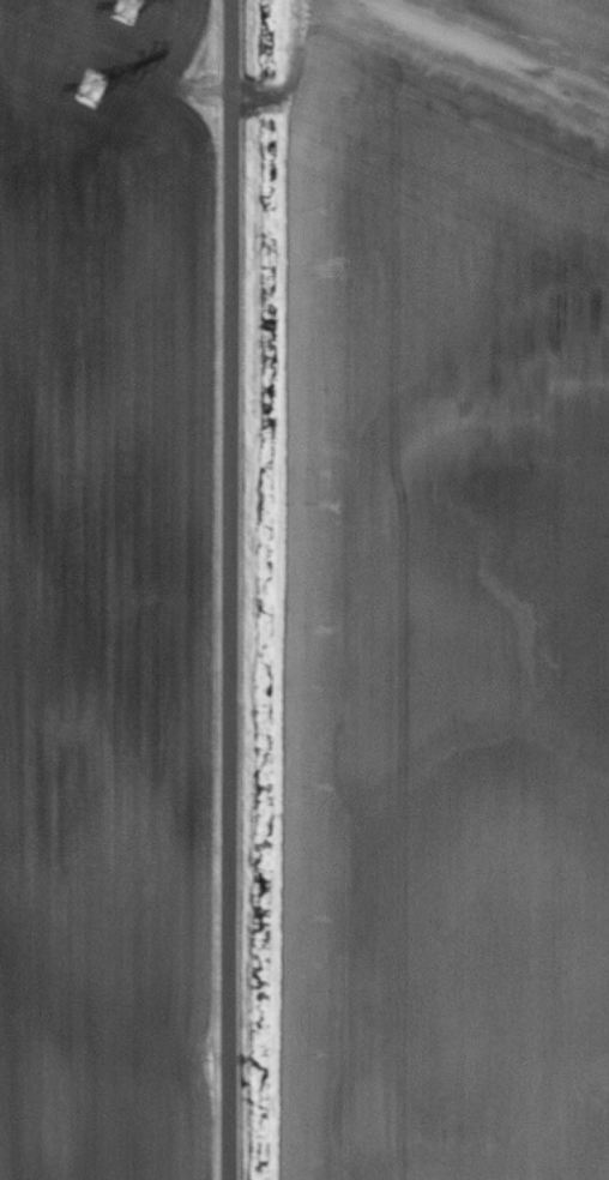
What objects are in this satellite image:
power tower: (128, 0)
power tower: (91, 80)
road: (237, 590)

